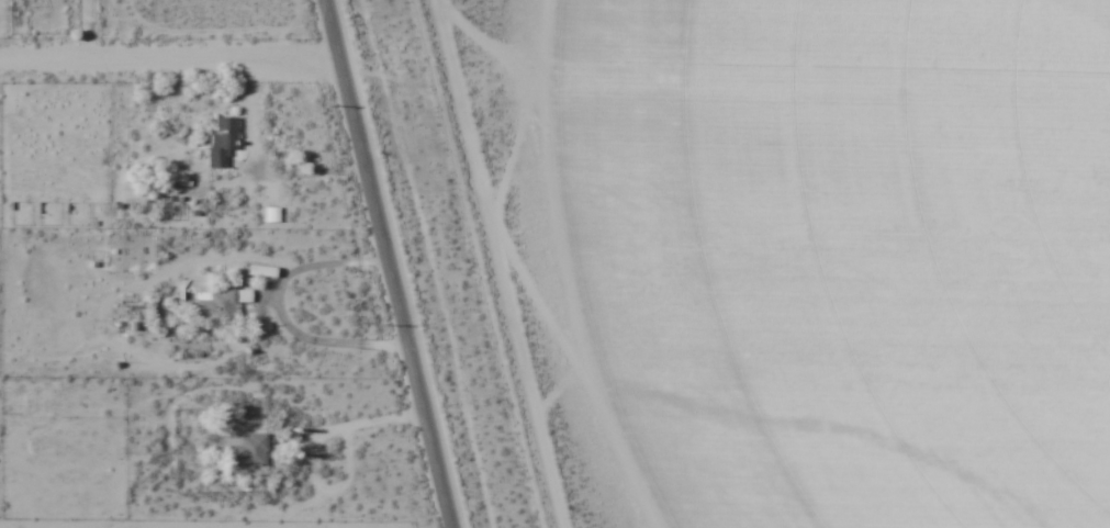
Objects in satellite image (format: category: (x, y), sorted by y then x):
road: (171, 60)
building: (222, 141)
crop: (834, 255)
road: (389, 263)
building: (214, 304)
building: (246, 449)

